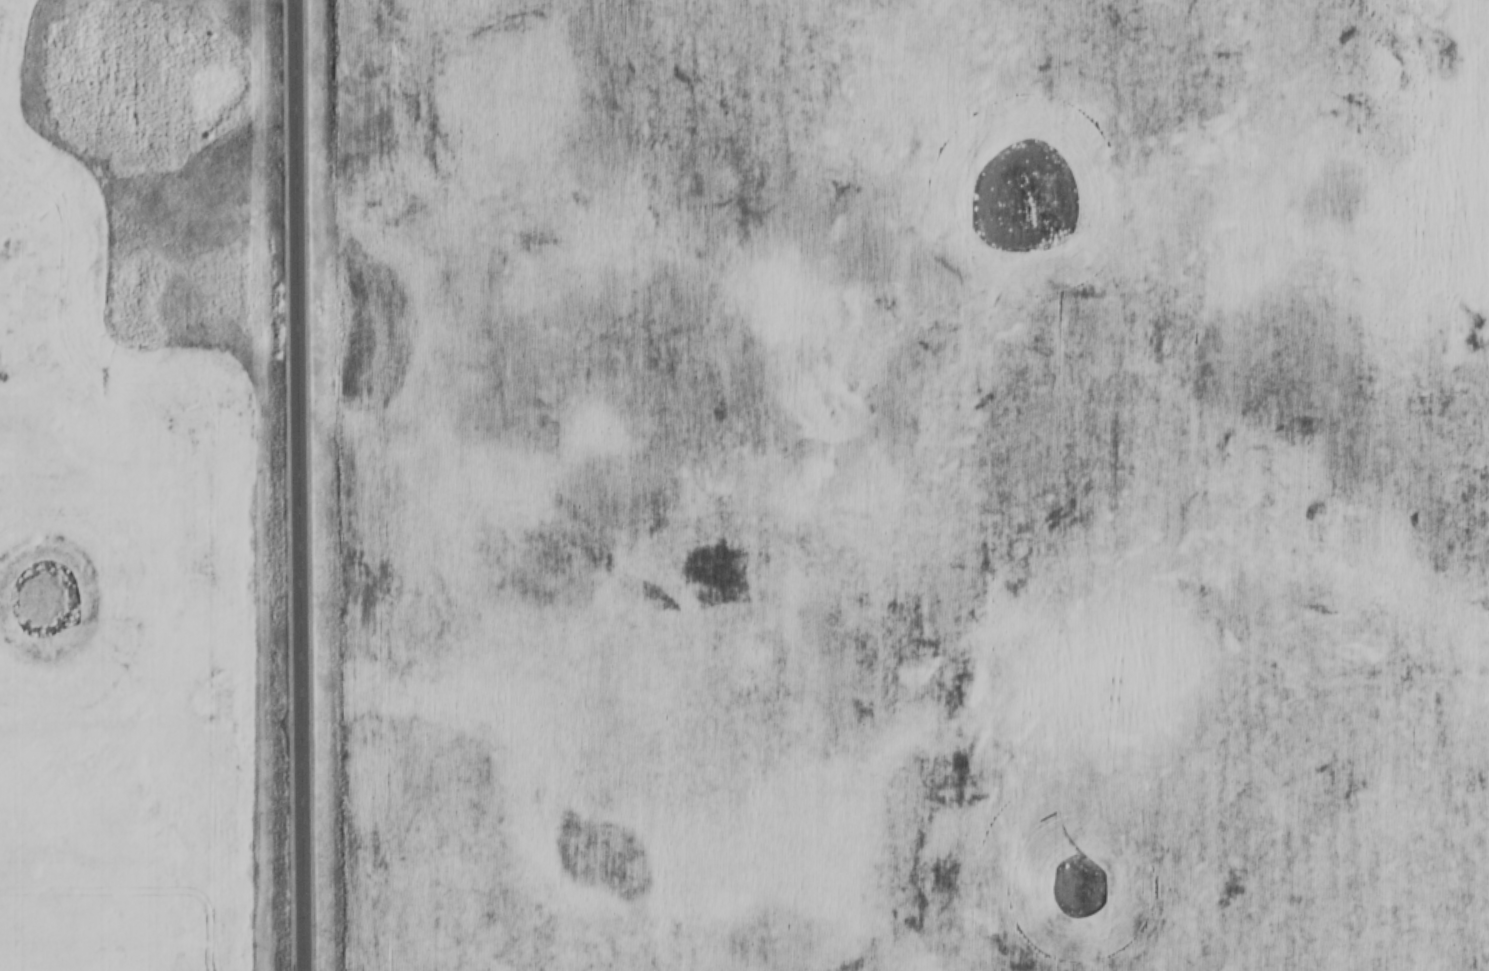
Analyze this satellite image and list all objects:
road: (129, 205)
road: (272, 485)

